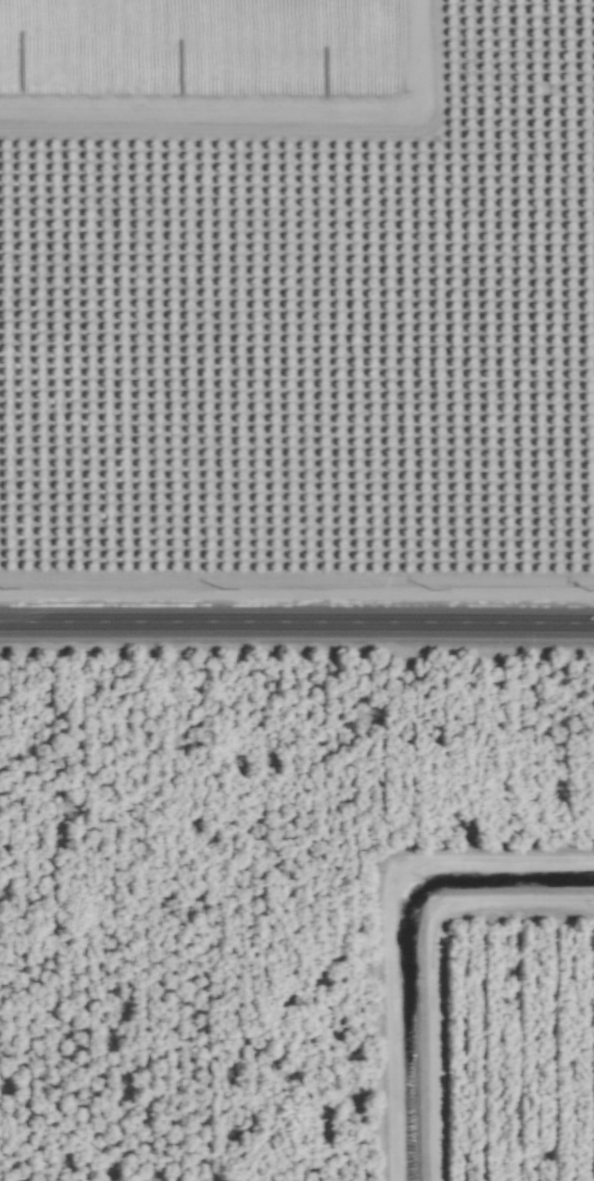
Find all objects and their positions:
road: (268, 108)
crop: (296, 590)
road: (296, 623)

